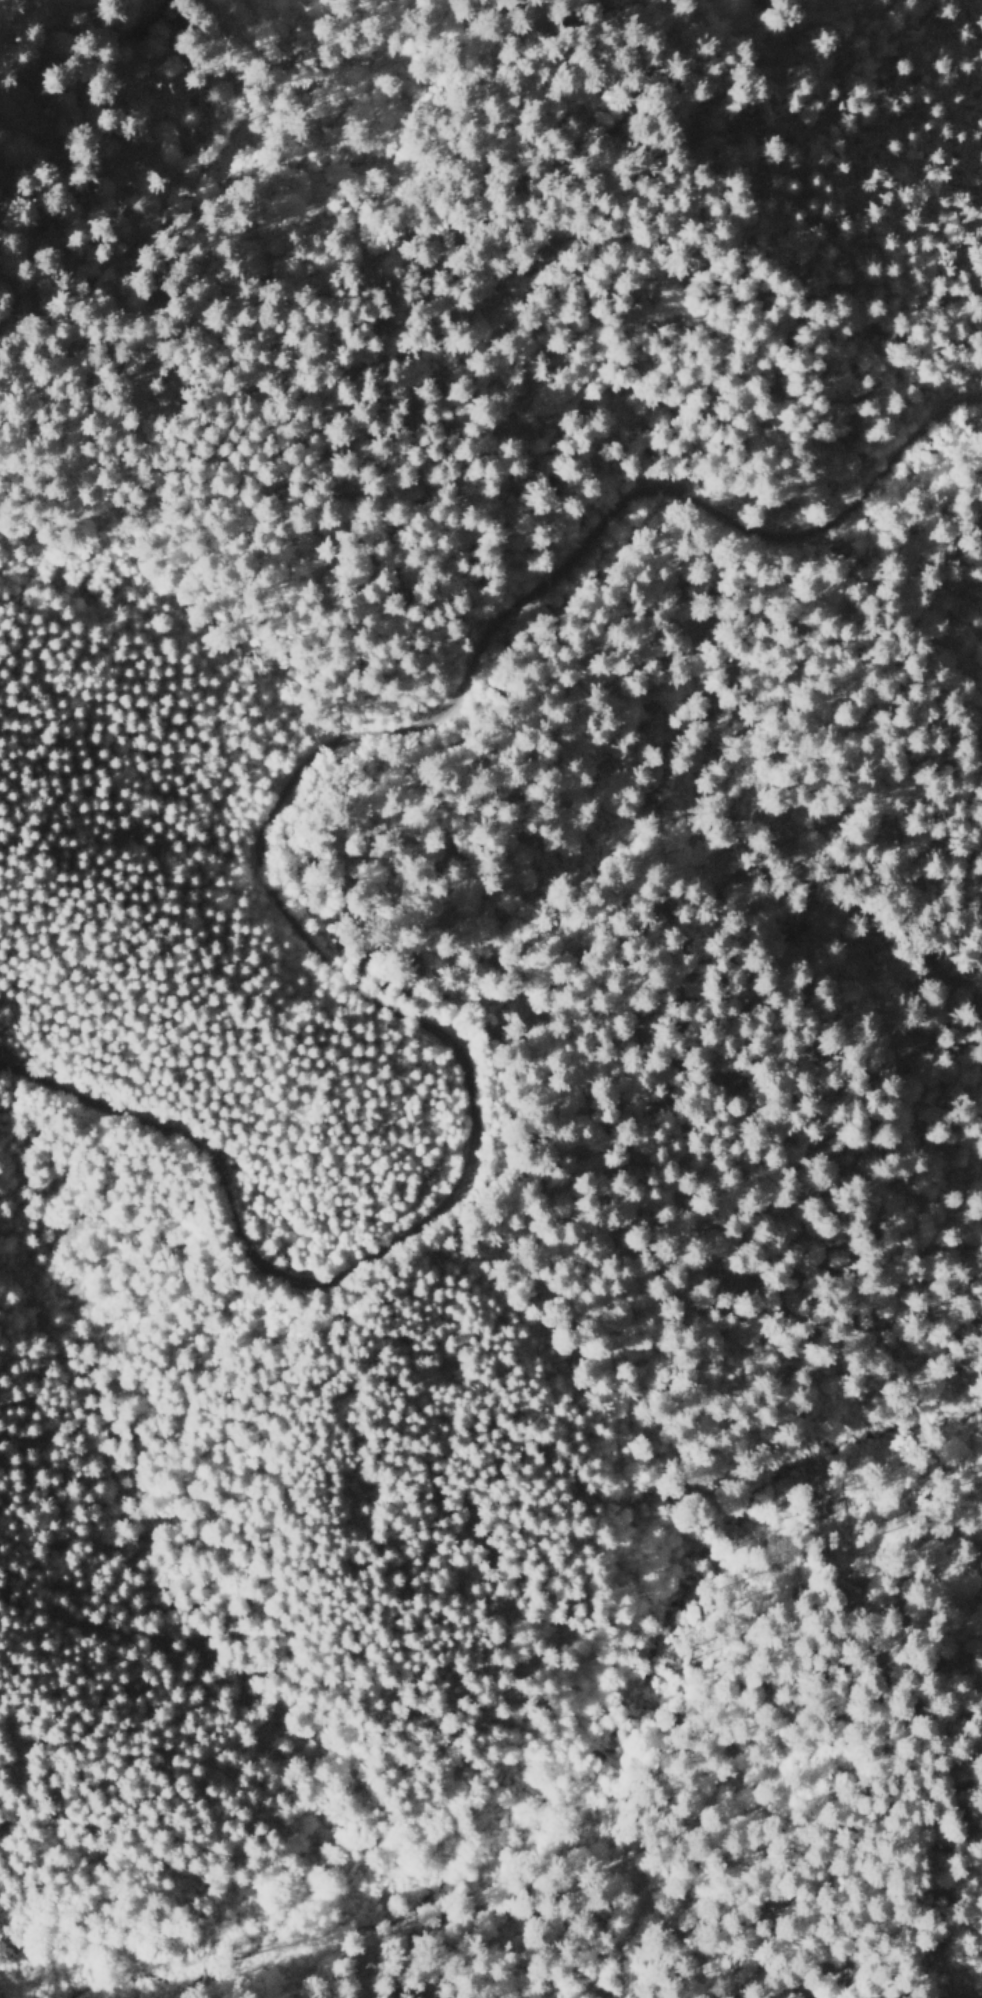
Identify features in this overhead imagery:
road: (336, 875)

